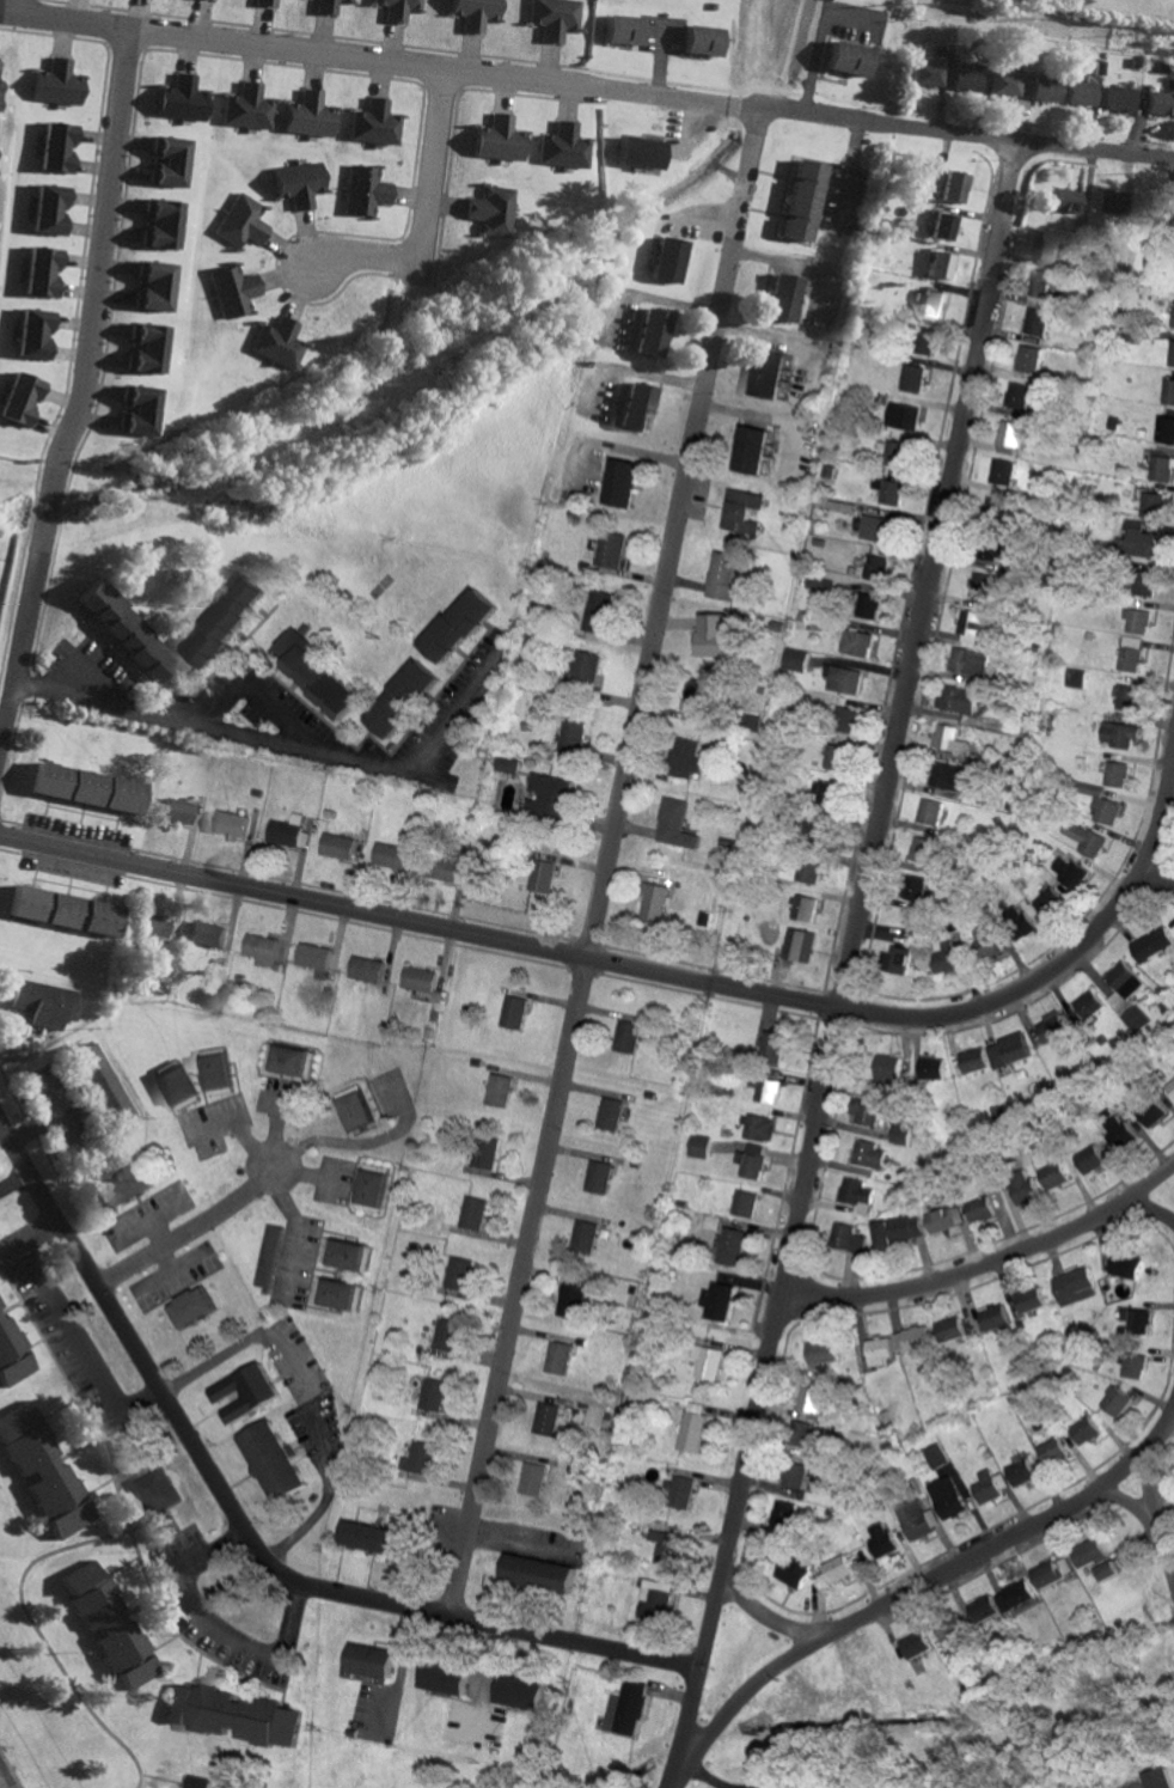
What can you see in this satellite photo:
building: (350, 0)
building: (265, 2)
building: (328, 6)
building: (399, 8)
road: (6, 13)
building: (478, 13)
building: (557, 17)
building: (624, 29)
building: (703, 39)
building: (850, 57)
building: (931, 73)
building: (970, 78)
building: (56, 83)
building: (1008, 83)
building: (1048, 89)
road: (593, 91)
building: (1083, 92)
building: (183, 98)
building: (1121, 98)
building: (1161, 103)
building: (249, 108)
building: (308, 115)
building: (375, 123)
building: (499, 139)
building: (564, 146)
building: (56, 147)
building: (640, 152)
building: (170, 161)
road: (433, 169)
building: (299, 183)
building: (956, 187)
building: (365, 190)
building: (803, 200)
building: (1068, 201)
building: (1113, 202)
building: (49, 209)
building: (493, 210)
building: (241, 221)
building: (161, 224)
building: (944, 226)
building: (1050, 245)
building: (668, 260)
road: (363, 261)
building: (941, 264)
building: (41, 271)
building: (153, 286)
building: (1041, 287)
building: (231, 291)
building: (783, 297)
building: (933, 303)
building: (1038, 322)
building: (1173, 323)
building: (32, 332)
building: (653, 332)
building: (927, 341)
building: (276, 343)
building: (146, 348)
building: (1031, 359)
building: (1173, 359)
building: (768, 373)
building: (913, 378)
road: (84, 379)
building: (1169, 391)
building: (1019, 397)
building: (19, 398)
building: (1034, 402)
building: (636, 407)
building: (139, 410)
building: (904, 415)
building: (1167, 429)
building: (1009, 437)
building: (751, 448)
building: (893, 453)
building: (1163, 469)
building: (1003, 471)
building: (828, 472)
building: (620, 482)
building: (889, 490)
building: (1154, 502)
building: (744, 512)
building: (876, 527)
building: (1143, 538)
building: (610, 549)
building: (995, 553)
building: (876, 567)
building: (722, 575)
building: (982, 585)
building: (1147, 586)
building: (868, 605)
building: (598, 611)
building: (222, 621)
building: (1138, 621)
building: (455, 626)
building: (970, 627)
building: (126, 631)
building: (713, 634)
building: (856, 642)
building: (1131, 653)
building: (795, 659)
building: (972, 663)
building: (586, 666)
building: (317, 677)
building: (1075, 677)
building: (844, 679)
building: (696, 695)
building: (1126, 696)
building: (399, 698)
building: (958, 698)
road: (256, 700)
building: (844, 719)
building: (1119, 734)
building: (570, 737)
road: (268, 738)
building: (949, 738)
building: (836, 757)
building: (684, 758)
building: (506, 764)
building: (1115, 774)
building: (948, 776)
building: (549, 787)
building: (87, 788)
building: (1089, 789)
building: (828, 792)
road: (610, 807)
building: (1105, 810)
building: (177, 811)
building: (931, 812)
building: (230, 824)
building: (675, 824)
building: (283, 830)
building: (1084, 838)
building: (335, 846)
building: (924, 849)
building: (389, 855)
building: (440, 868)
building: (809, 869)
building: (1069, 869)
road: (1157, 874)
building: (542, 875)
building: (916, 887)
building: (536, 901)
building: (1045, 902)
building: (654, 904)
building: (805, 908)
building: (63, 911)
building: (705, 920)
building: (1017, 921)
building: (153, 926)
building: (207, 935)
building: (984, 940)
building: (1152, 944)
building: (800, 945)
building: (258, 946)
building: (312, 956)
building: (947, 958)
building: (899, 959)
road: (846, 965)
building: (365, 969)
building: (417, 978)
road: (667, 978)
building: (1127, 995)
building: (43, 1003)
building: (1089, 1005)
building: (513, 1012)
building: (1056, 1025)
building: (625, 1037)
building: (772, 1048)
building: (1009, 1051)
building: (974, 1060)
building: (933, 1068)
building: (214, 1072)
building: (887, 1072)
building: (176, 1085)
building: (97, 1086)
building: (1170, 1087)
building: (765, 1088)
building: (497, 1090)
building: (353, 1111)
building: (866, 1111)
building: (609, 1113)
building: (1154, 1113)
road: (241, 1128)
building: (756, 1128)
building: (901, 1134)
building: (697, 1146)
building: (483, 1153)
building: (868, 1154)
building: (1089, 1160)
building: (748, 1165)
building: (1053, 1174)
building: (597, 1177)
road: (12, 1179)
road: (1170, 1179)
building: (126, 1185)
building: (368, 1190)
building: (1025, 1191)
building: (857, 1195)
building: (742, 1204)
building: (978, 1209)
building: (471, 1213)
building: (944, 1219)
building: (709, 1222)
road: (299, 1226)
building: (898, 1229)
road: (188, 1233)
building: (583, 1237)
building: (846, 1238)
building: (729, 1247)
building: (344, 1256)
building: (268, 1257)
building: (1126, 1267)
road: (985, 1270)
building: (458, 1274)
building: (1076, 1286)
building: (334, 1294)
building: (570, 1298)
building: (1031, 1300)
building: (716, 1301)
building: (0, 1306)
building: (191, 1307)
building: (995, 1318)
building: (1138, 1318)
road: (66, 1329)
building: (950, 1330)
building: (446, 1335)
building: (913, 1340)
building: (823, 1353)
building: (879, 1353)
building: (13, 1354)
building: (557, 1359)
building: (705, 1360)
building: (1136, 1365)
road: (306, 1391)
building: (245, 1392)
building: (433, 1395)
building: (811, 1398)
building: (1118, 1401)
building: (546, 1417)
building: (692, 1426)
building: (1086, 1429)
building: (802, 1434)
building: (1052, 1448)
building: (936, 1456)
building: (420, 1457)
building: (271, 1458)
building: (43, 1469)
building: (1022, 1470)
building: (799, 1473)
building: (532, 1477)
building: (987, 1487)
building: (154, 1490)
building: (678, 1491)
building: (947, 1496)
road: (1123, 1502)
building: (917, 1518)
road: (1150, 1519)
building: (371, 1536)
road: (249, 1537)
building: (882, 1538)
building: (661, 1544)
building: (1089, 1551)
building: (857, 1557)
building: (1118, 1560)
building: (837, 1568)
building: (793, 1570)
building: (1052, 1570)
building: (1105, 1570)
building: (537, 1572)
road: (916, 1588)
building: (1014, 1595)
building: (652, 1597)
building: (983, 1609)
road: (765, 1618)
road: (210, 1623)
building: (110, 1625)
building: (950, 1630)
building: (915, 1643)
building: (368, 1660)
building: (442, 1676)
building: (518, 1690)
building: (178, 1702)
building: (625, 1708)
building: (245, 1716)
building: (1161, 1777)

